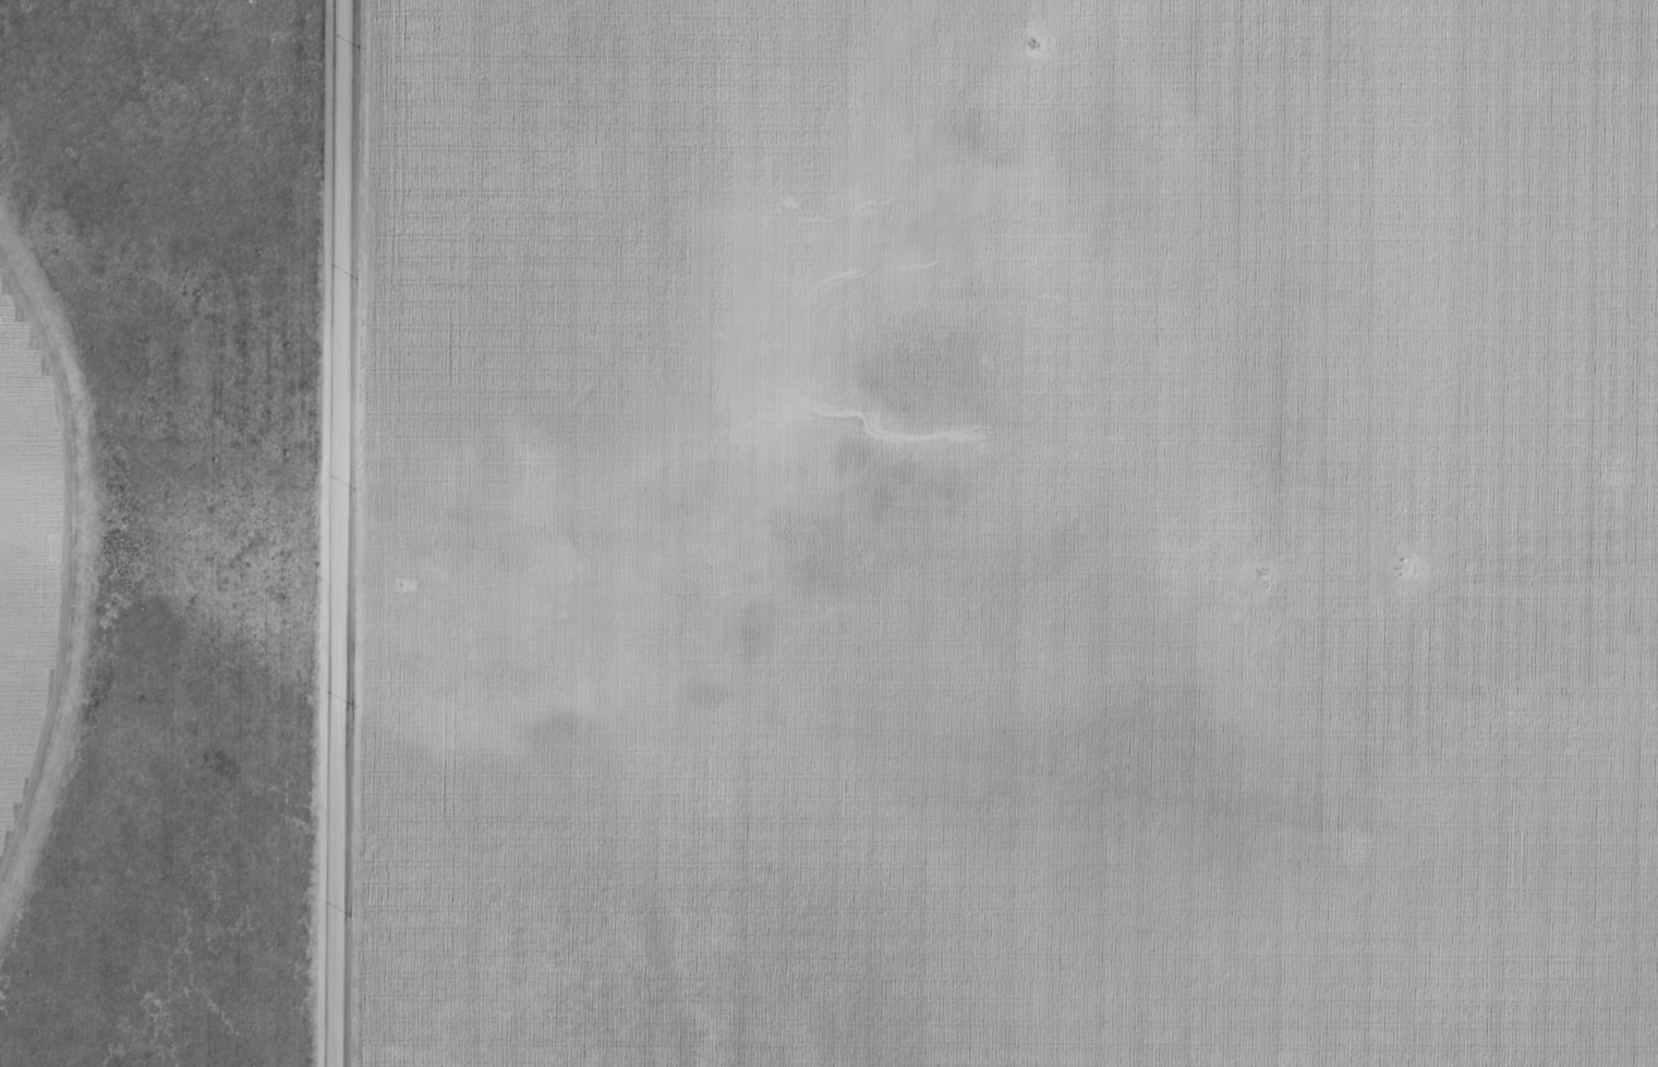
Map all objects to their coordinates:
road: (335, 533)

